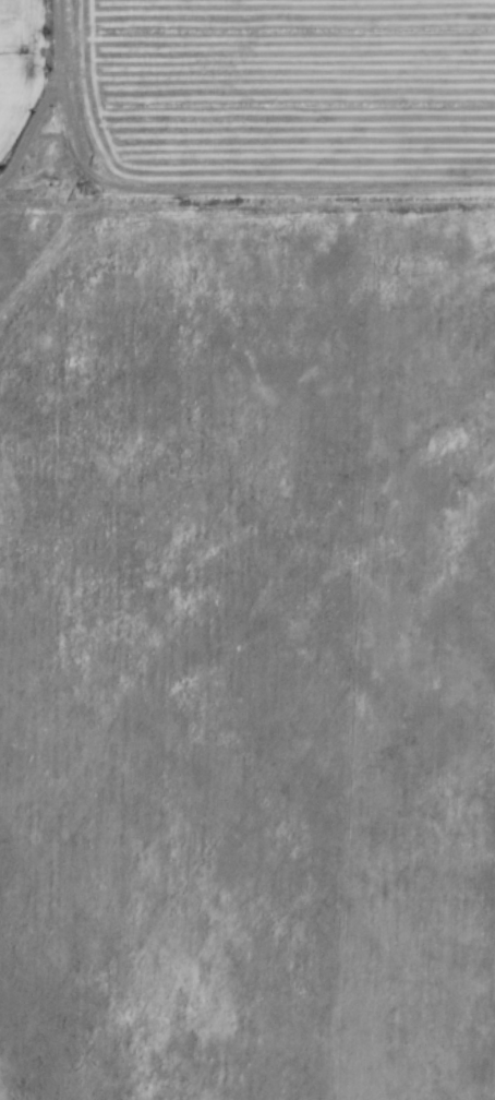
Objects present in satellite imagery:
crop: (21, 68)
crop: (301, 84)
road: (49, 150)
road: (68, 167)
road: (209, 191)
crop: (26, 246)
crop: (311, 636)
crop: (69, 727)

